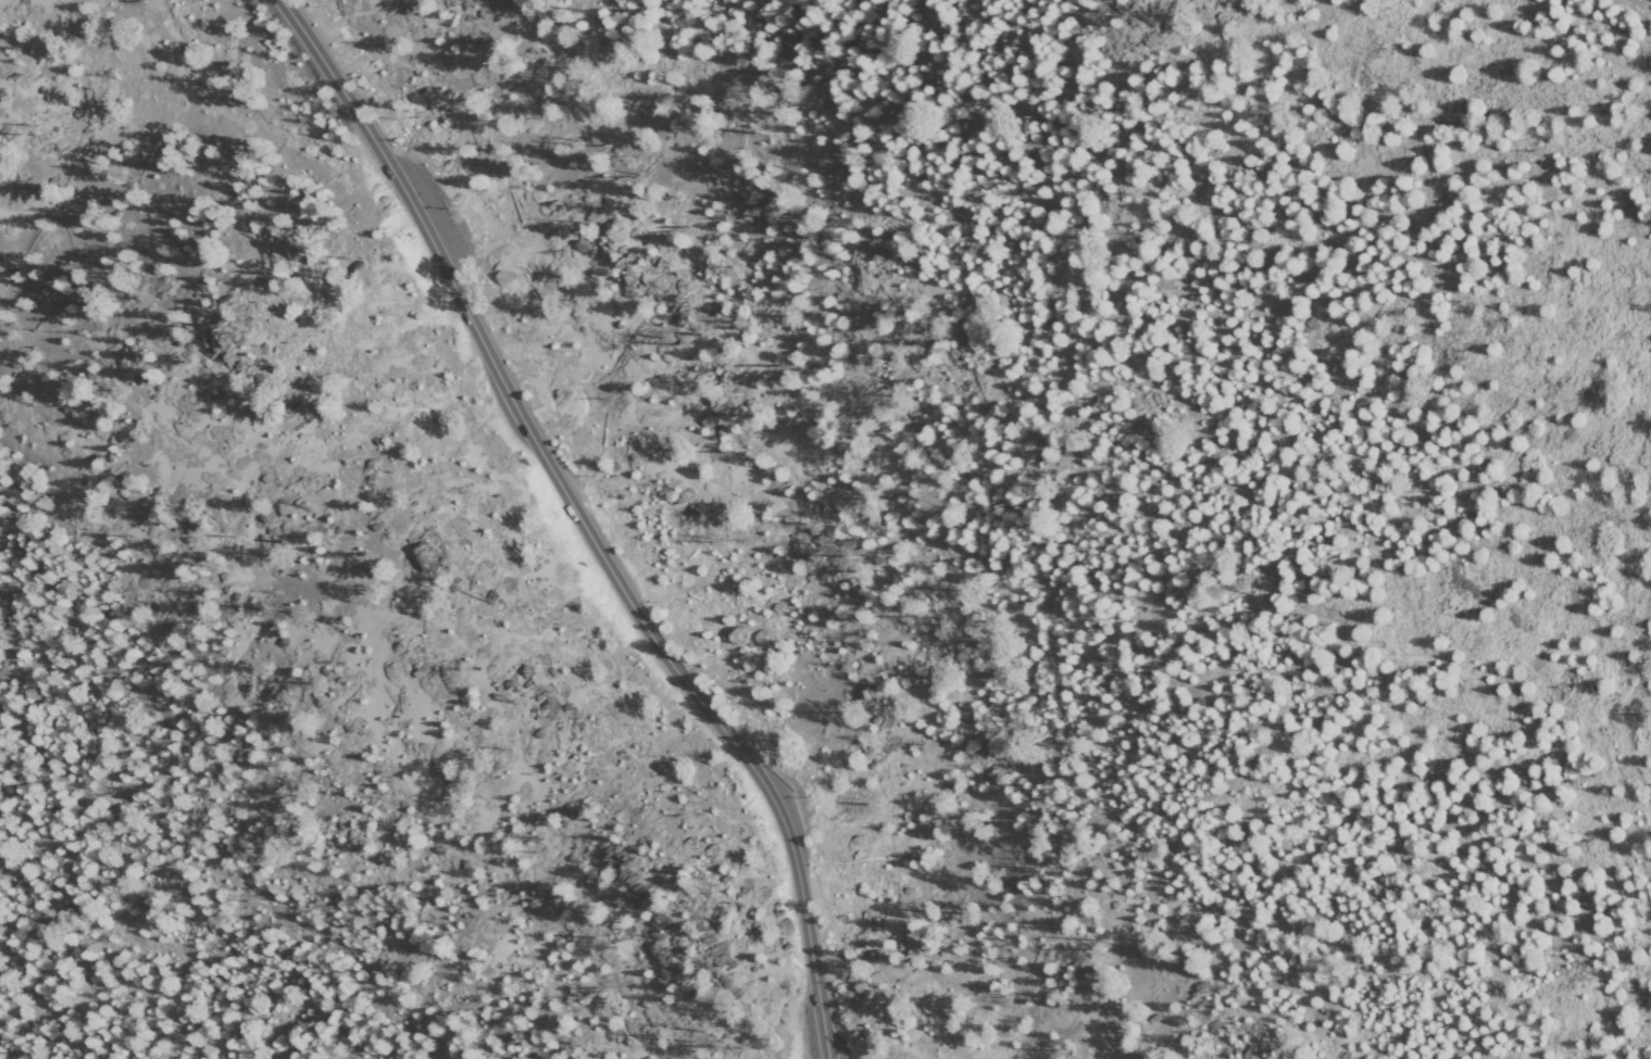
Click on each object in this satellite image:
road: (435, 213)
parking lot: (479, 227)
road: (589, 525)
road: (1635, 675)

